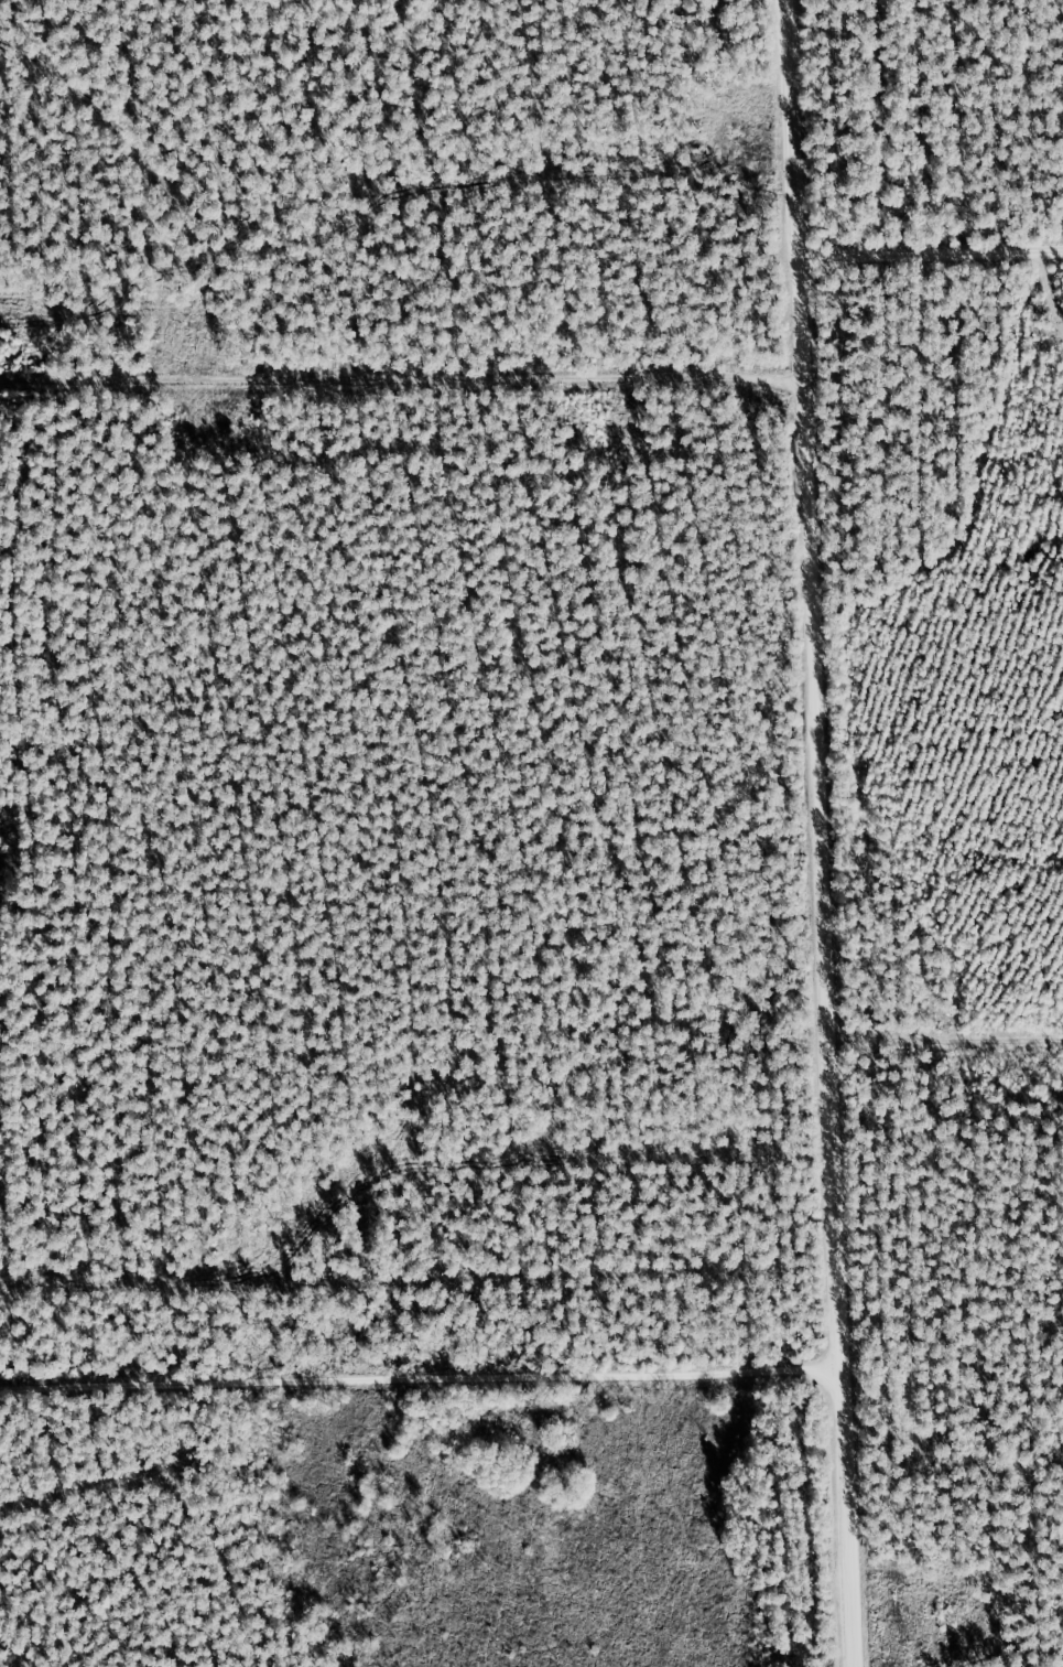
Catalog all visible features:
road: (932, 256)
road: (402, 379)
road: (831, 832)
road: (432, 1395)

